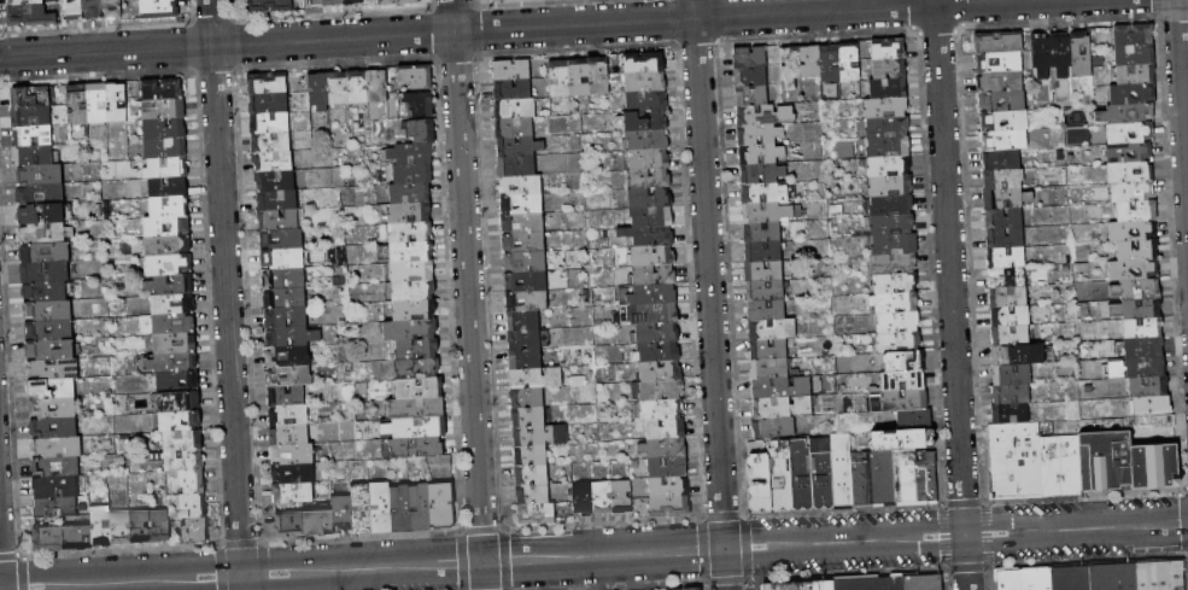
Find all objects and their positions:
building: (492, 0)
building: (24, 2)
building: (312, 2)
building: (333, 2)
building: (352, 2)
building: (408, 2)
building: (268, 6)
building: (93, 8)
building: (112, 8)
building: (159, 8)
building: (74, 10)
building: (29, 17)
road: (510, 28)
building: (1131, 33)
building: (994, 40)
building: (889, 49)
building: (1130, 52)
building: (1079, 53)
building: (1058, 54)
building: (1038, 56)
building: (750, 57)
building: (995, 59)
building: (810, 62)
building: (644, 63)
building: (849, 63)
building: (830, 64)
building: (791, 66)
building: (890, 69)
building: (513, 70)
building: (1131, 71)
building: (416, 76)
building: (750, 76)
building: (579, 77)
building: (598, 77)
building: (996, 78)
building: (561, 80)
building: (645, 82)
building: (268, 84)
building: (376, 87)
building: (338, 88)
building: (357, 88)
building: (889, 88)
building: (513, 89)
building: (163, 90)
building: (1126, 90)
building: (320, 92)
building: (751, 95)
building: (33, 97)
building: (997, 97)
building: (646, 101)
building: (98, 103)
building: (117, 103)
building: (269, 104)
building: (77, 105)
building: (416, 105)
road: (1182, 105)
building: (163, 109)
building: (515, 109)
building: (886, 109)
building: (1122, 111)
building: (765, 115)
building: (999, 116)
building: (31, 117)
building: (642, 122)
building: (270, 123)
building: (888, 127)
building: (514, 128)
building: (164, 129)
building: (1125, 130)
building: (422, 132)
building: (759, 135)
building: (34, 136)
building: (1000, 136)
building: (646, 140)
building: (270, 144)
building: (519, 147)
building: (889, 147)
building: (165, 148)
building: (1125, 148)
building: (411, 154)
building: (761, 154)
building: (34, 156)
building: (996, 157)
building: (648, 159)
building: (273, 162)
building: (516, 167)
building: (889, 167)
building: (1124, 168)
building: (165, 169)
building: (761, 173)
building: (412, 174)
building: (39, 175)
building: (997, 175)
building: (649, 179)
building: (275, 181)
building: (521, 185)
building: (890, 186)
building: (1125, 187)
building: (168, 188)
building: (410, 193)
building: (763, 193)
building: (41, 194)
building: (999, 194)
building: (649, 198)
building: (277, 200)
building: (522, 204)
building: (891, 205)
building: (169, 206)
building: (1133, 206)
building: (766, 212)
building: (410, 214)
building: (41, 215)
building: (1000, 215)
building: (651, 216)
building: (279, 220)
building: (522, 223)
building: (890, 224)
building: (166, 227)
building: (1129, 227)
building: (45, 233)
building: (410, 233)
building: (761, 233)
building: (649, 235)
building: (1001, 235)
building: (282, 239)
building: (523, 243)
building: (895, 245)
building: (166, 246)
building: (1134, 246)
building: (411, 252)
building: (763, 252)
building: (45, 253)
building: (652, 256)
building: (1001, 256)
building: (282, 258)
building: (525, 262)
building: (895, 264)
building: (169, 265)
building: (1131, 265)
building: (414, 271)
building: (763, 271)
building: (45, 273)
building: (1003, 275)
building: (654, 276)
building: (283, 279)
road: (467, 281)
building: (526, 281)
building: (896, 284)
building: (170, 285)
building: (1133, 285)
building: (414, 291)
building: (765, 291)
building: (45, 292)
road: (226, 294)
building: (655, 294)
road: (709, 294)
road: (950, 294)
building: (1005, 294)
building: (285, 299)
building: (527, 300)
building: (172, 303)
building: (894, 304)
building: (1134, 304)
building: (48, 310)
building: (415, 310)
building: (766, 310)
building: (656, 312)
building: (1005, 315)
building: (286, 319)
building: (523, 320)
building: (174, 322)
building: (899, 322)
building: (1139, 325)
building: (410, 329)
building: (772, 329)
building: (49, 331)
building: (657, 333)
building: (1006, 333)
building: (287, 338)
building: (523, 339)
building: (900, 341)
building: (175, 343)
building: (1140, 344)
building: (416, 349)
building: (768, 349)
building: (49, 351)
building: (659, 351)
building: (1013, 351)
building: (288, 357)
building: (525, 358)
building: (905, 361)
building: (172, 363)
building: (1142, 363)
building: (417, 368)
building: (53, 369)
building: (769, 369)
building: (660, 372)
building: (1009, 373)
building: (288, 375)
building: (537, 378)
building: (901, 381)
building: (179, 382)
building: (1143, 382)
building: (420, 387)
building: (782, 387)
building: (52, 390)
building: (661, 391)
building: (1009, 392)
building: (286, 396)
building: (527, 398)
building: (180, 402)
building: (899, 402)
building: (1145, 403)
building: (782, 407)
building: (53, 408)
building: (416, 408)
building: (662, 409)
building: (1011, 411)
building: (288, 415)
building: (528, 417)
building: (914, 420)
building: (180, 421)
building: (54, 427)
building: (416, 427)
building: (773, 427)
building: (666, 430)
building: (289, 436)
building: (540, 436)
building: (183, 440)
building: (902, 440)
building: (57, 448)
building: (416, 448)
building: (756, 448)
building: (663, 449)
building: (292, 452)
building: (531, 455)
building: (180, 460)
building: (1000, 460)
building: (1025, 460)
building: (1123, 461)
building: (1067, 463)
building: (1048, 465)
building: (57, 467)
building: (667, 467)
building: (842, 472)
building: (294, 473)
building: (532, 474)
building: (801, 475)
building: (780, 477)
building: (906, 478)
building: (873, 479)
building: (927, 479)
building: (823, 481)
building: (192, 483)
building: (759, 484)
building: (55, 487)
building: (668, 487)
building: (293, 493)
building: (533, 493)
building: (602, 497)
building: (621, 497)
building: (583, 498)
building: (441, 506)
building: (192, 507)
building: (669, 507)
building: (55, 508)
building: (361, 508)
building: (381, 508)
building: (420, 508)
building: (400, 509)
building: (80, 512)
building: (343, 513)
building: (537, 513)
building: (318, 522)
building: (289, 525)
building: (159, 526)
building: (100, 527)
building: (140, 527)
building: (121, 528)
building: (194, 532)
building: (62, 538)
road: (835, 543)
road: (241, 574)
building: (1163, 576)
road: (482, 577)
building: (1114, 577)
building: (1071, 578)
road: (0, 579)
building: (1008, 579)
building: (1036, 579)
building: (921, 580)
building: (868, 582)
building: (801, 583)
park: (0, 584)
building: (690, 589)

